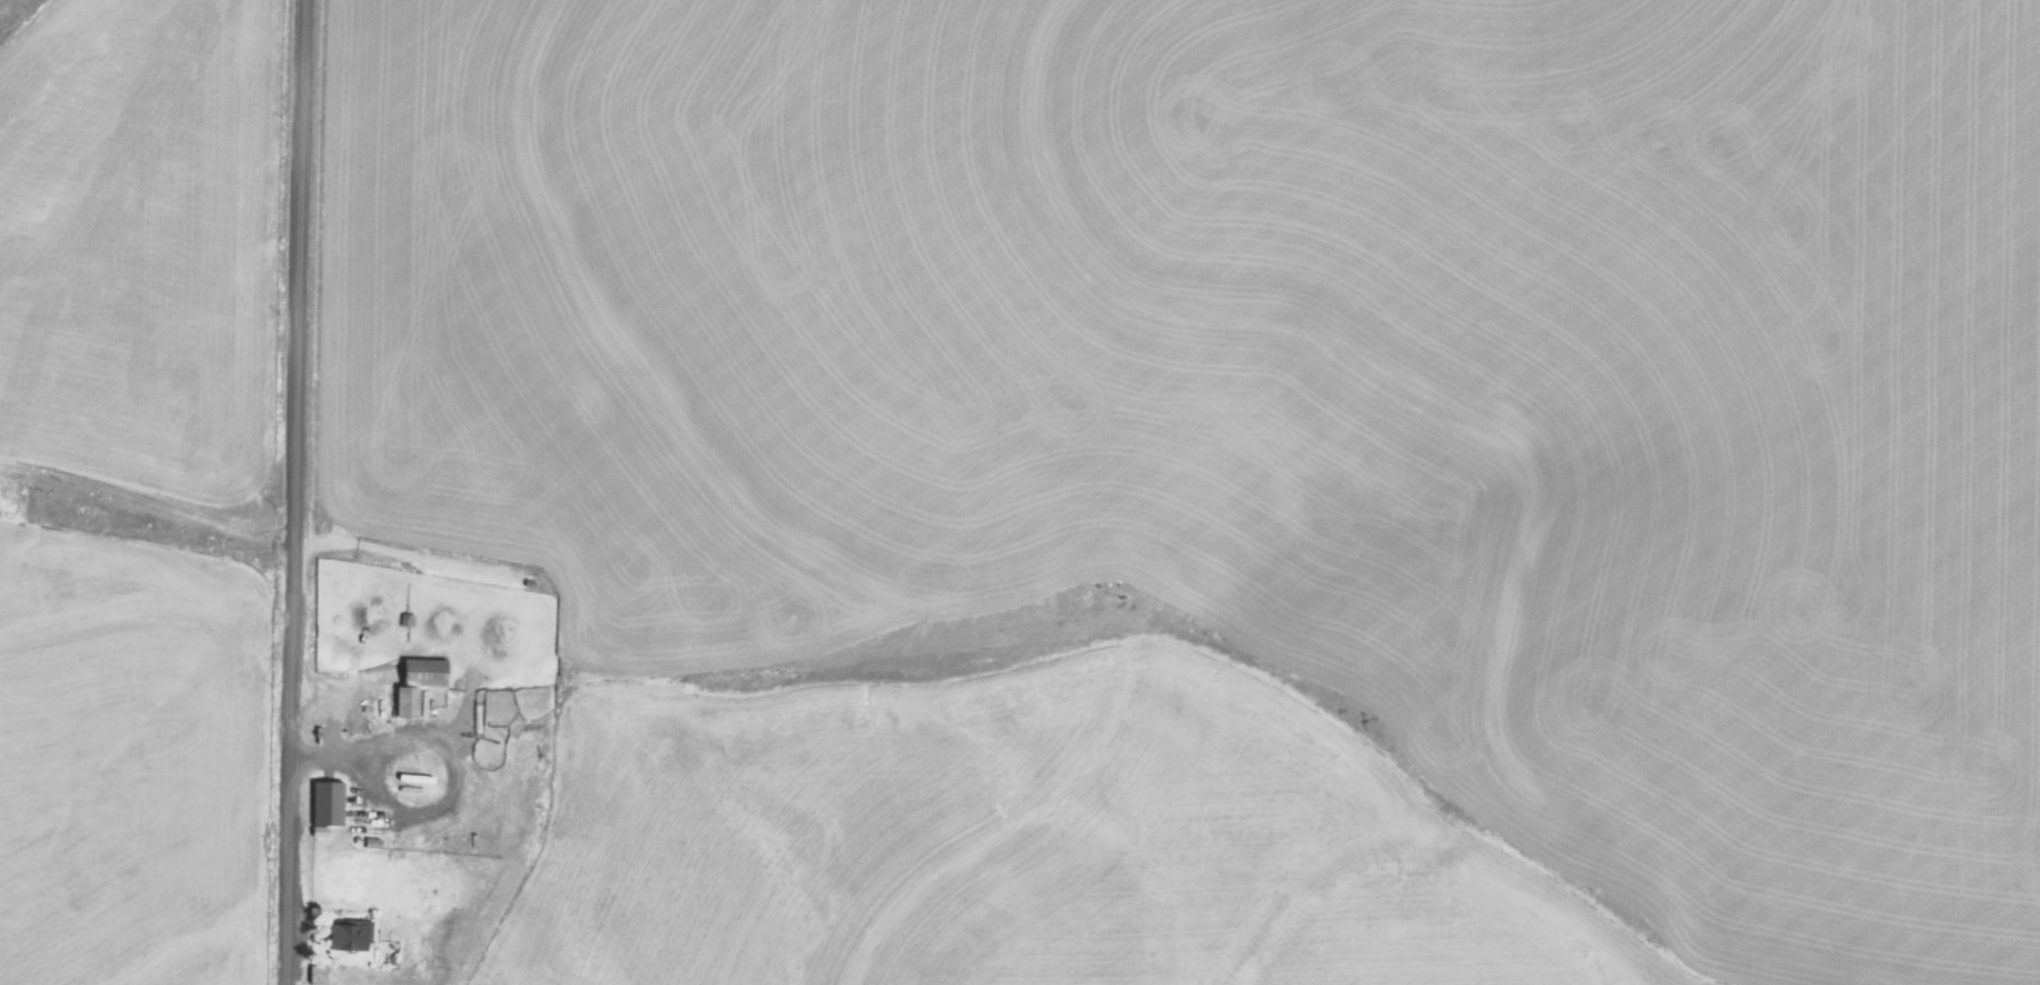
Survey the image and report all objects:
road: (294, 492)
building: (343, 935)

